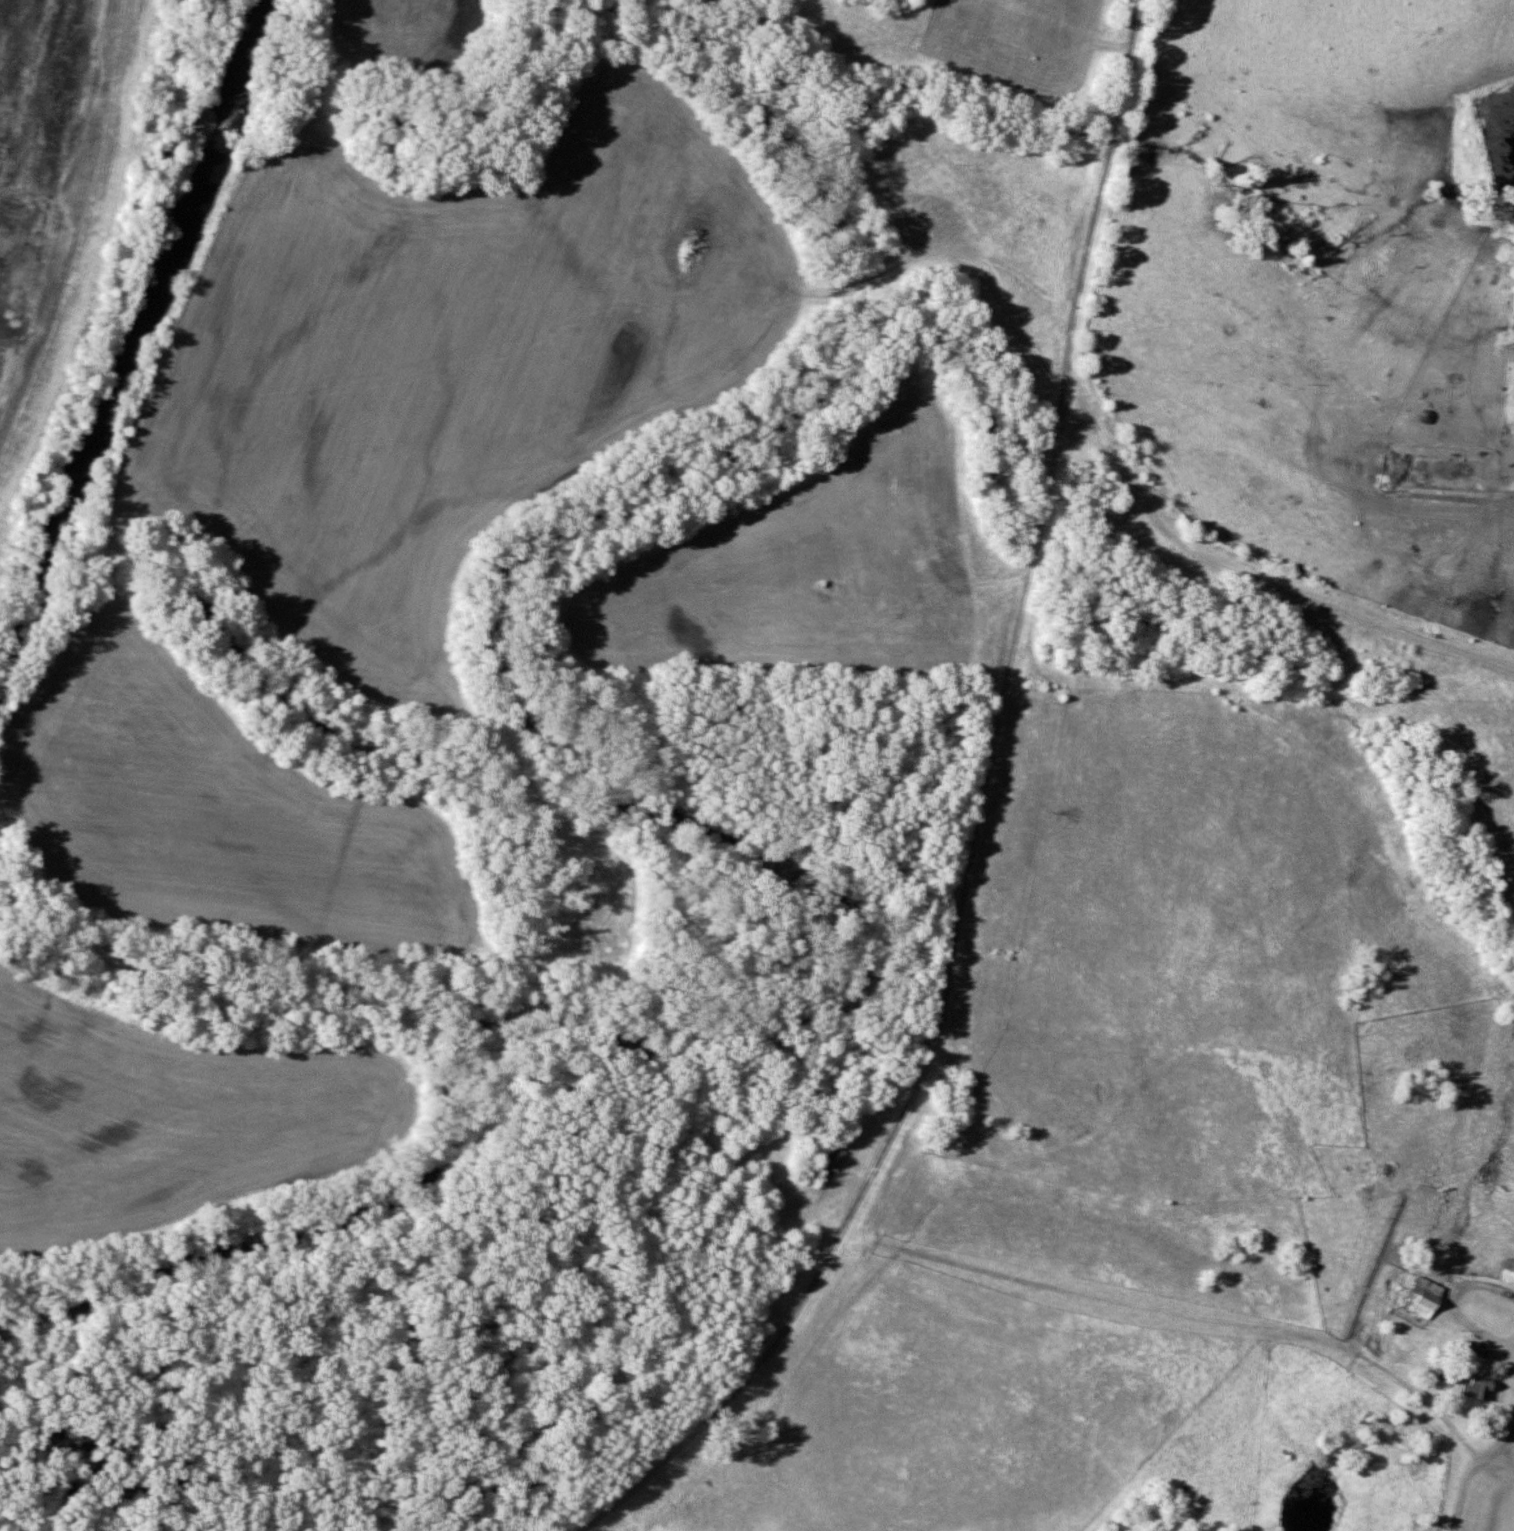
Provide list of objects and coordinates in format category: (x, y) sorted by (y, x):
river: (136, 329)
road: (1250, 575)
building: (826, 1157)
building: (1379, 1170)
building: (1508, 1274)
building: (1425, 1298)
road: (1452, 1302)
building: (1469, 1348)
building: (1478, 1387)
road: (1511, 1434)
road: (1464, 1473)
road: (1508, 1513)

